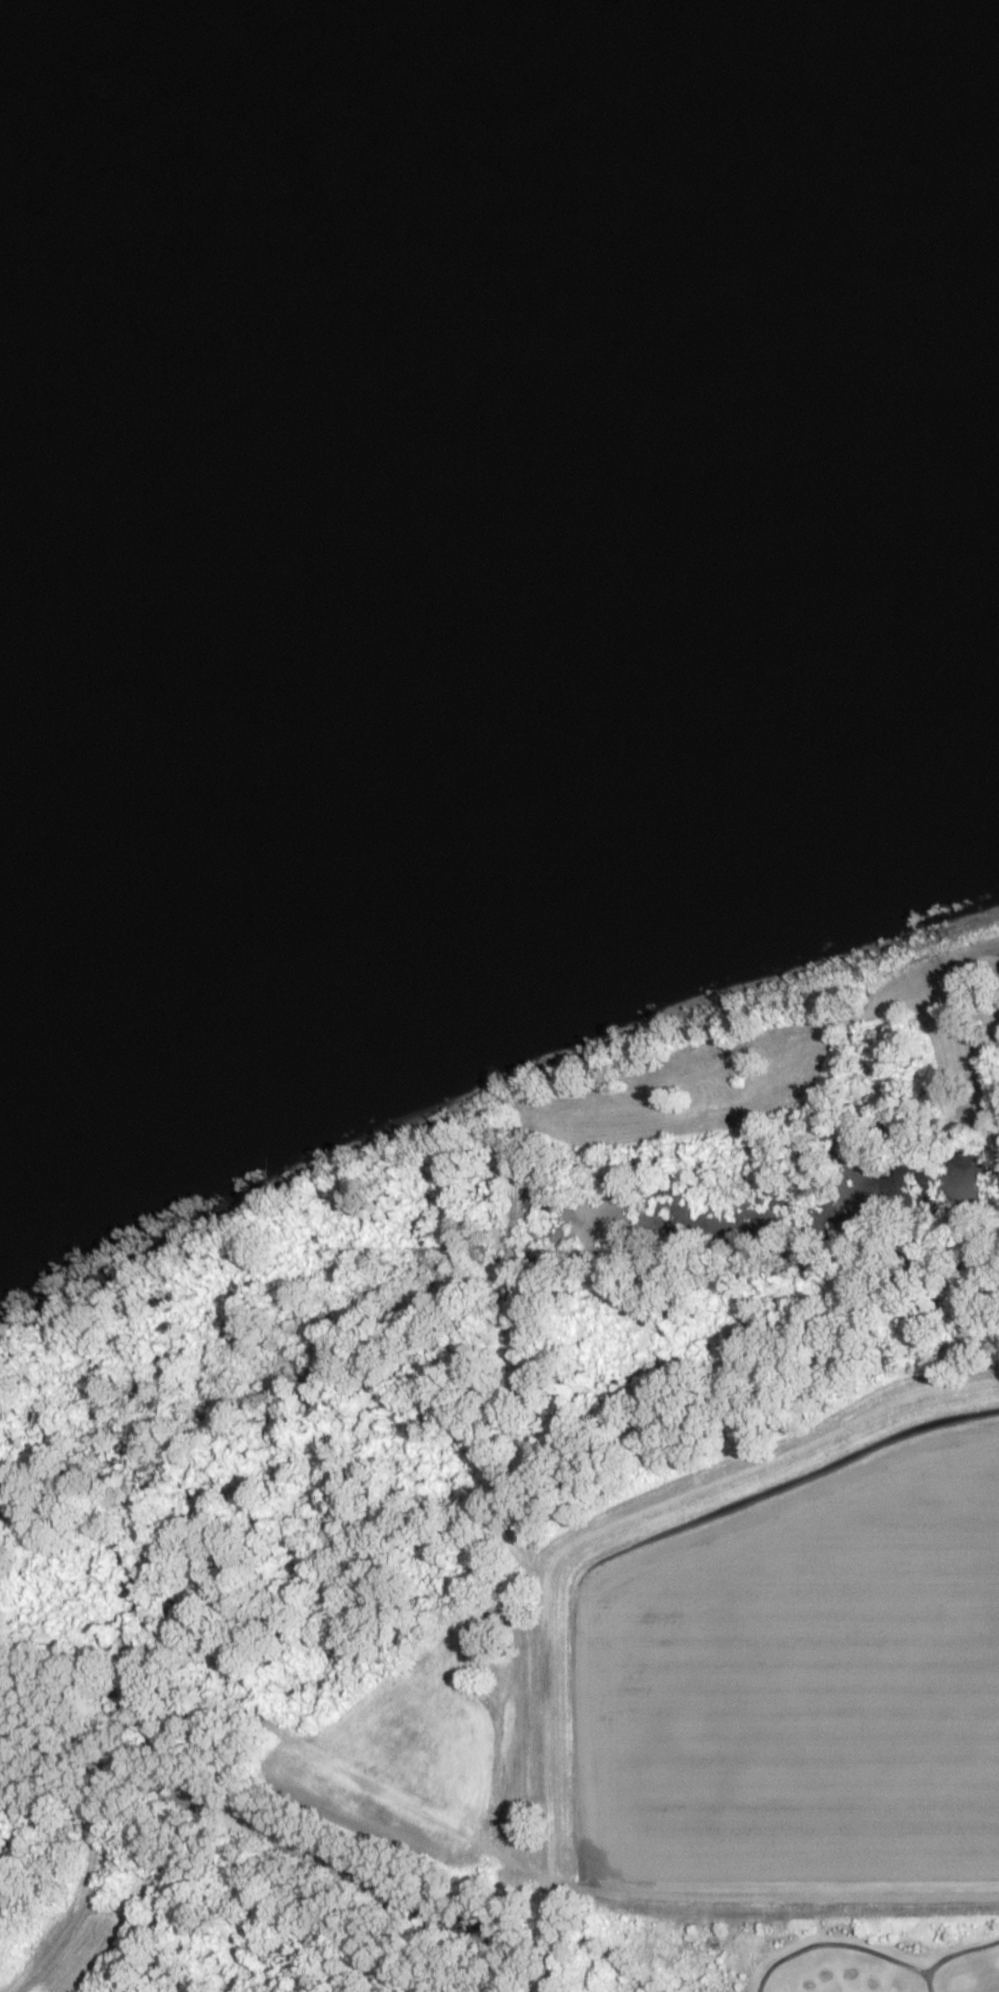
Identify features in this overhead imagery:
river: (499, 101)
road: (362, 1739)
road: (794, 1893)

